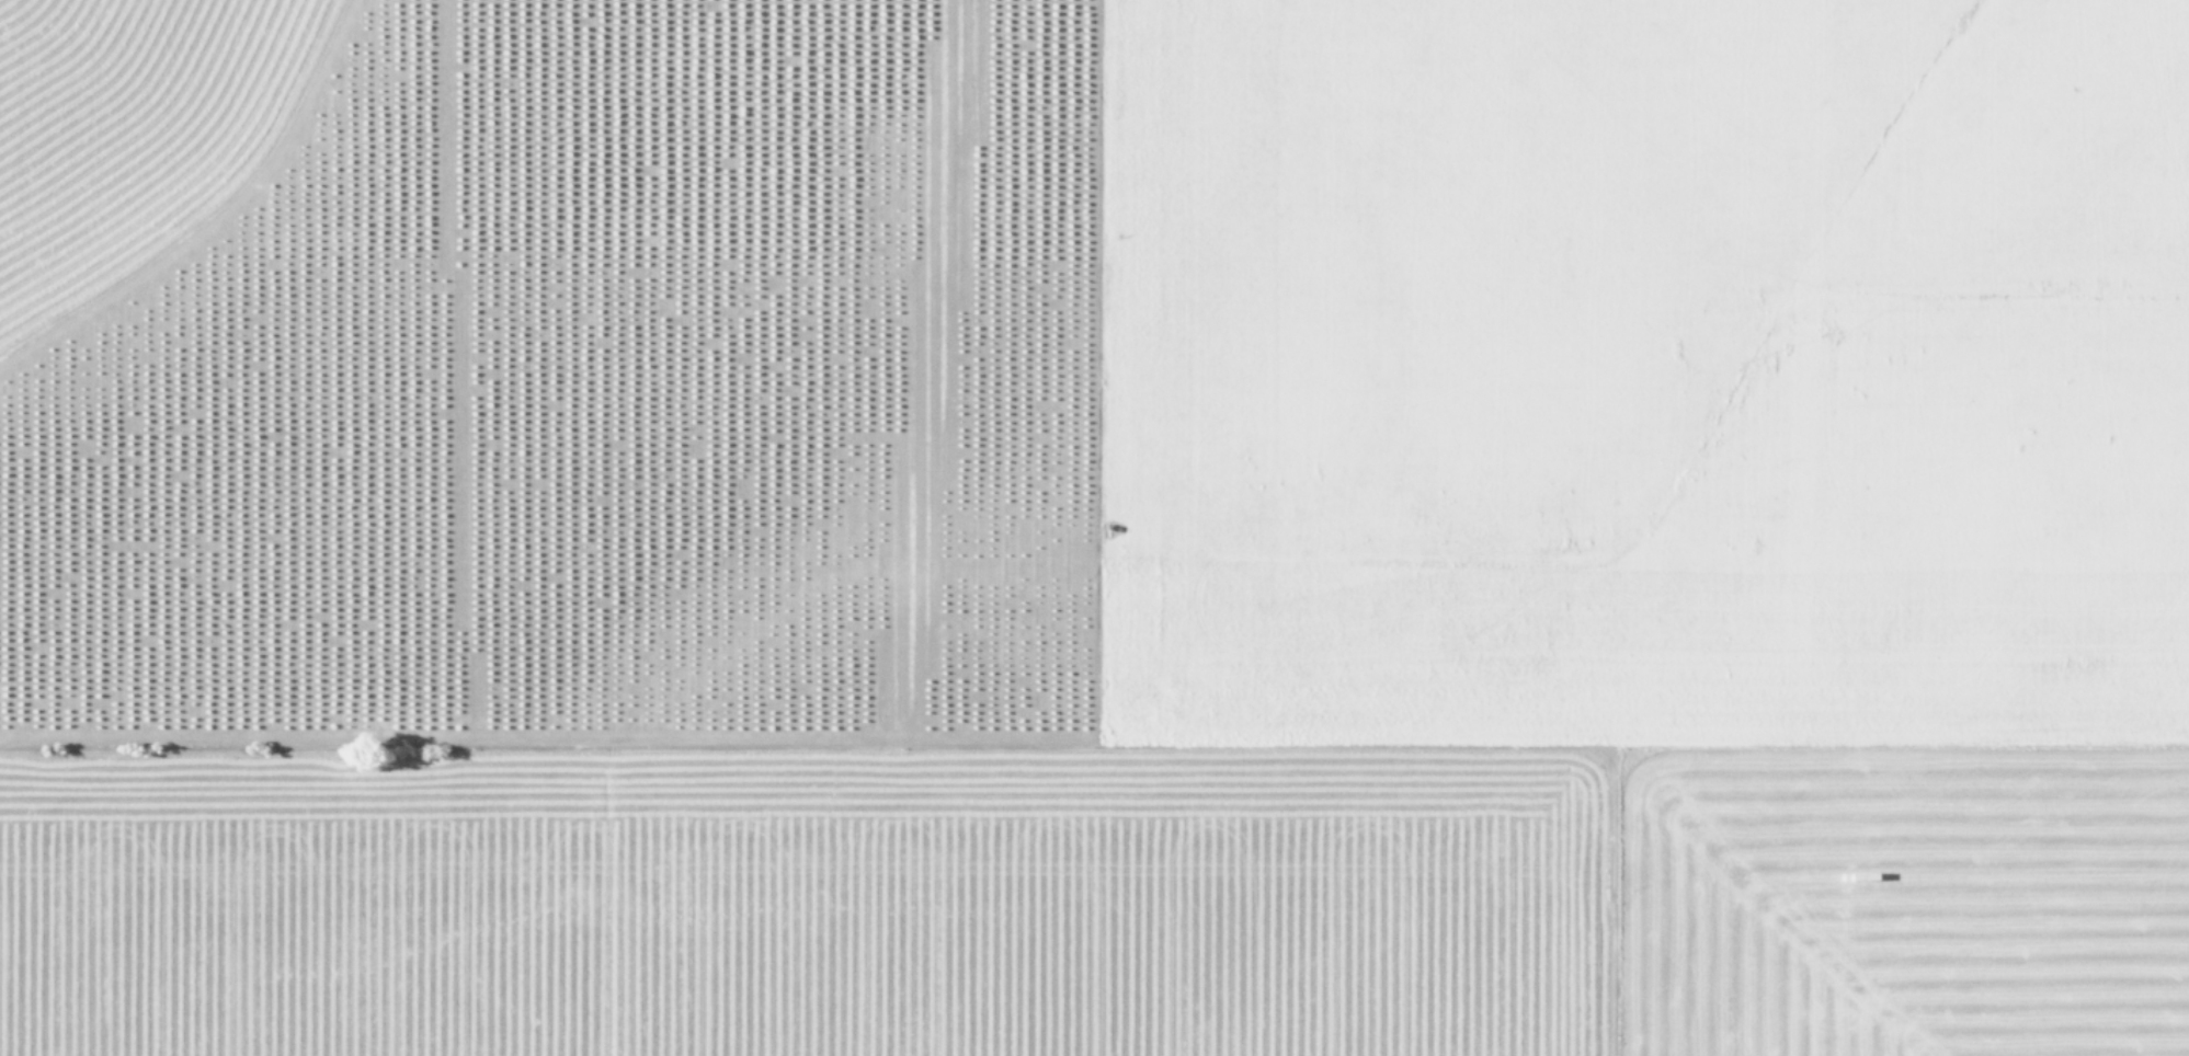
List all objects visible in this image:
crop: (1094, 528)

